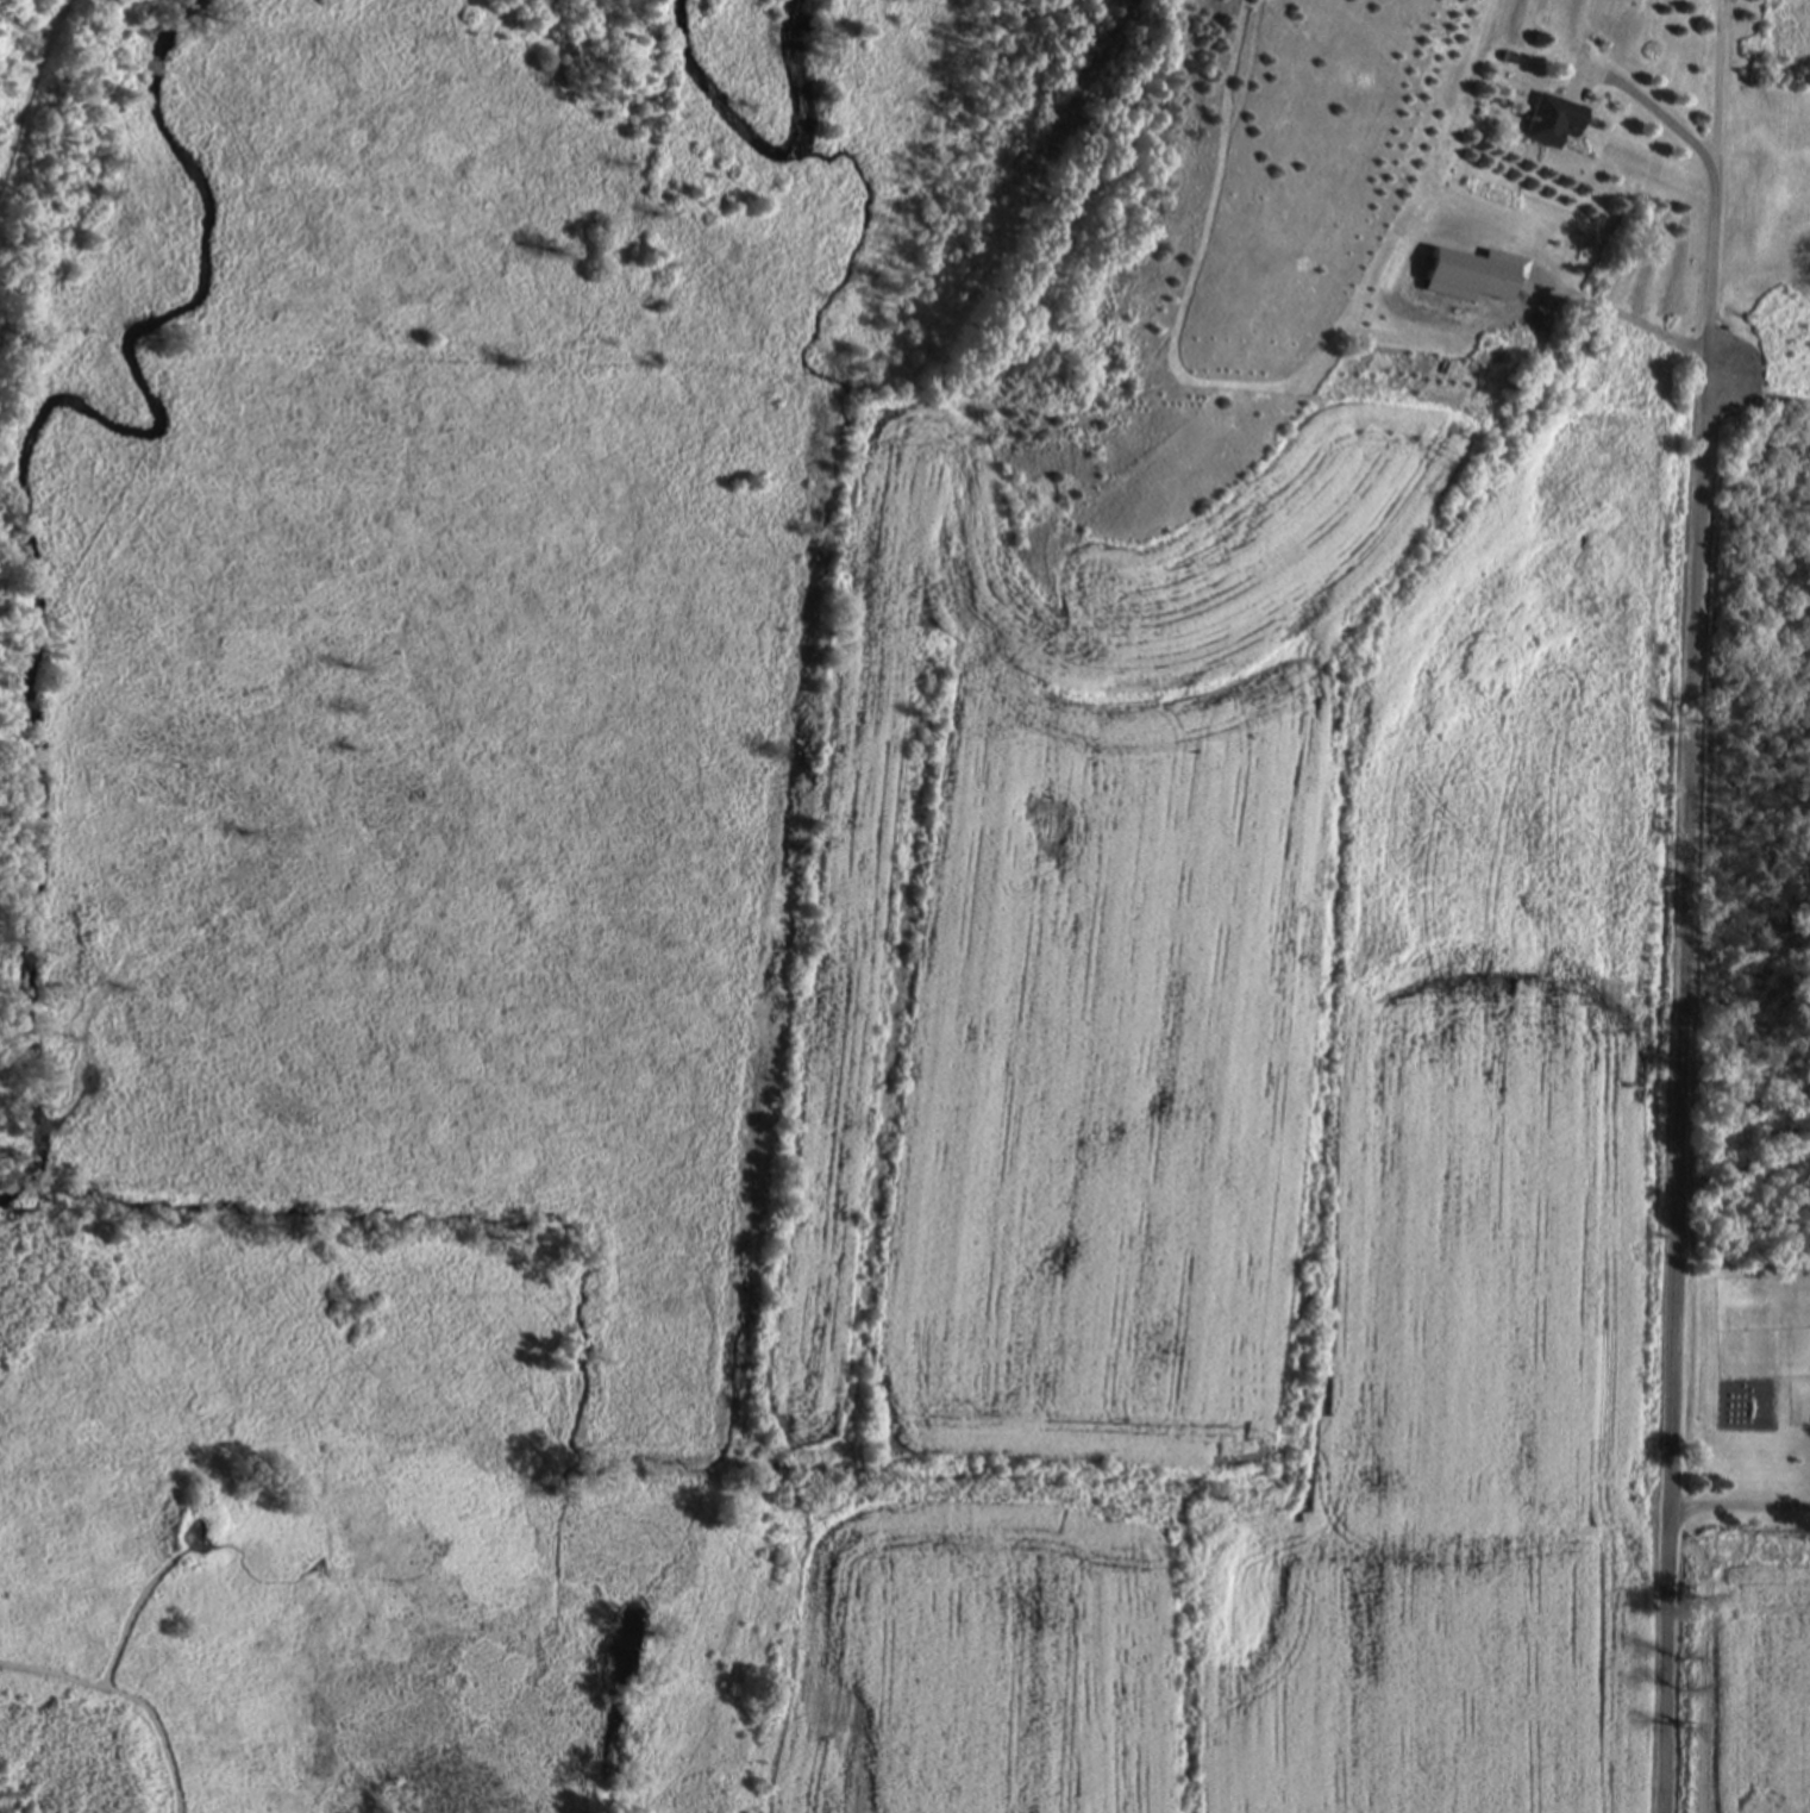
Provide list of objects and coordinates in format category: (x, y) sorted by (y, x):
road: (1712, 79)
road: (1648, 105)
building: (1554, 121)
road: (1706, 260)
road: (1626, 312)
road: (1686, 1087)
road: (1742, 1501)

